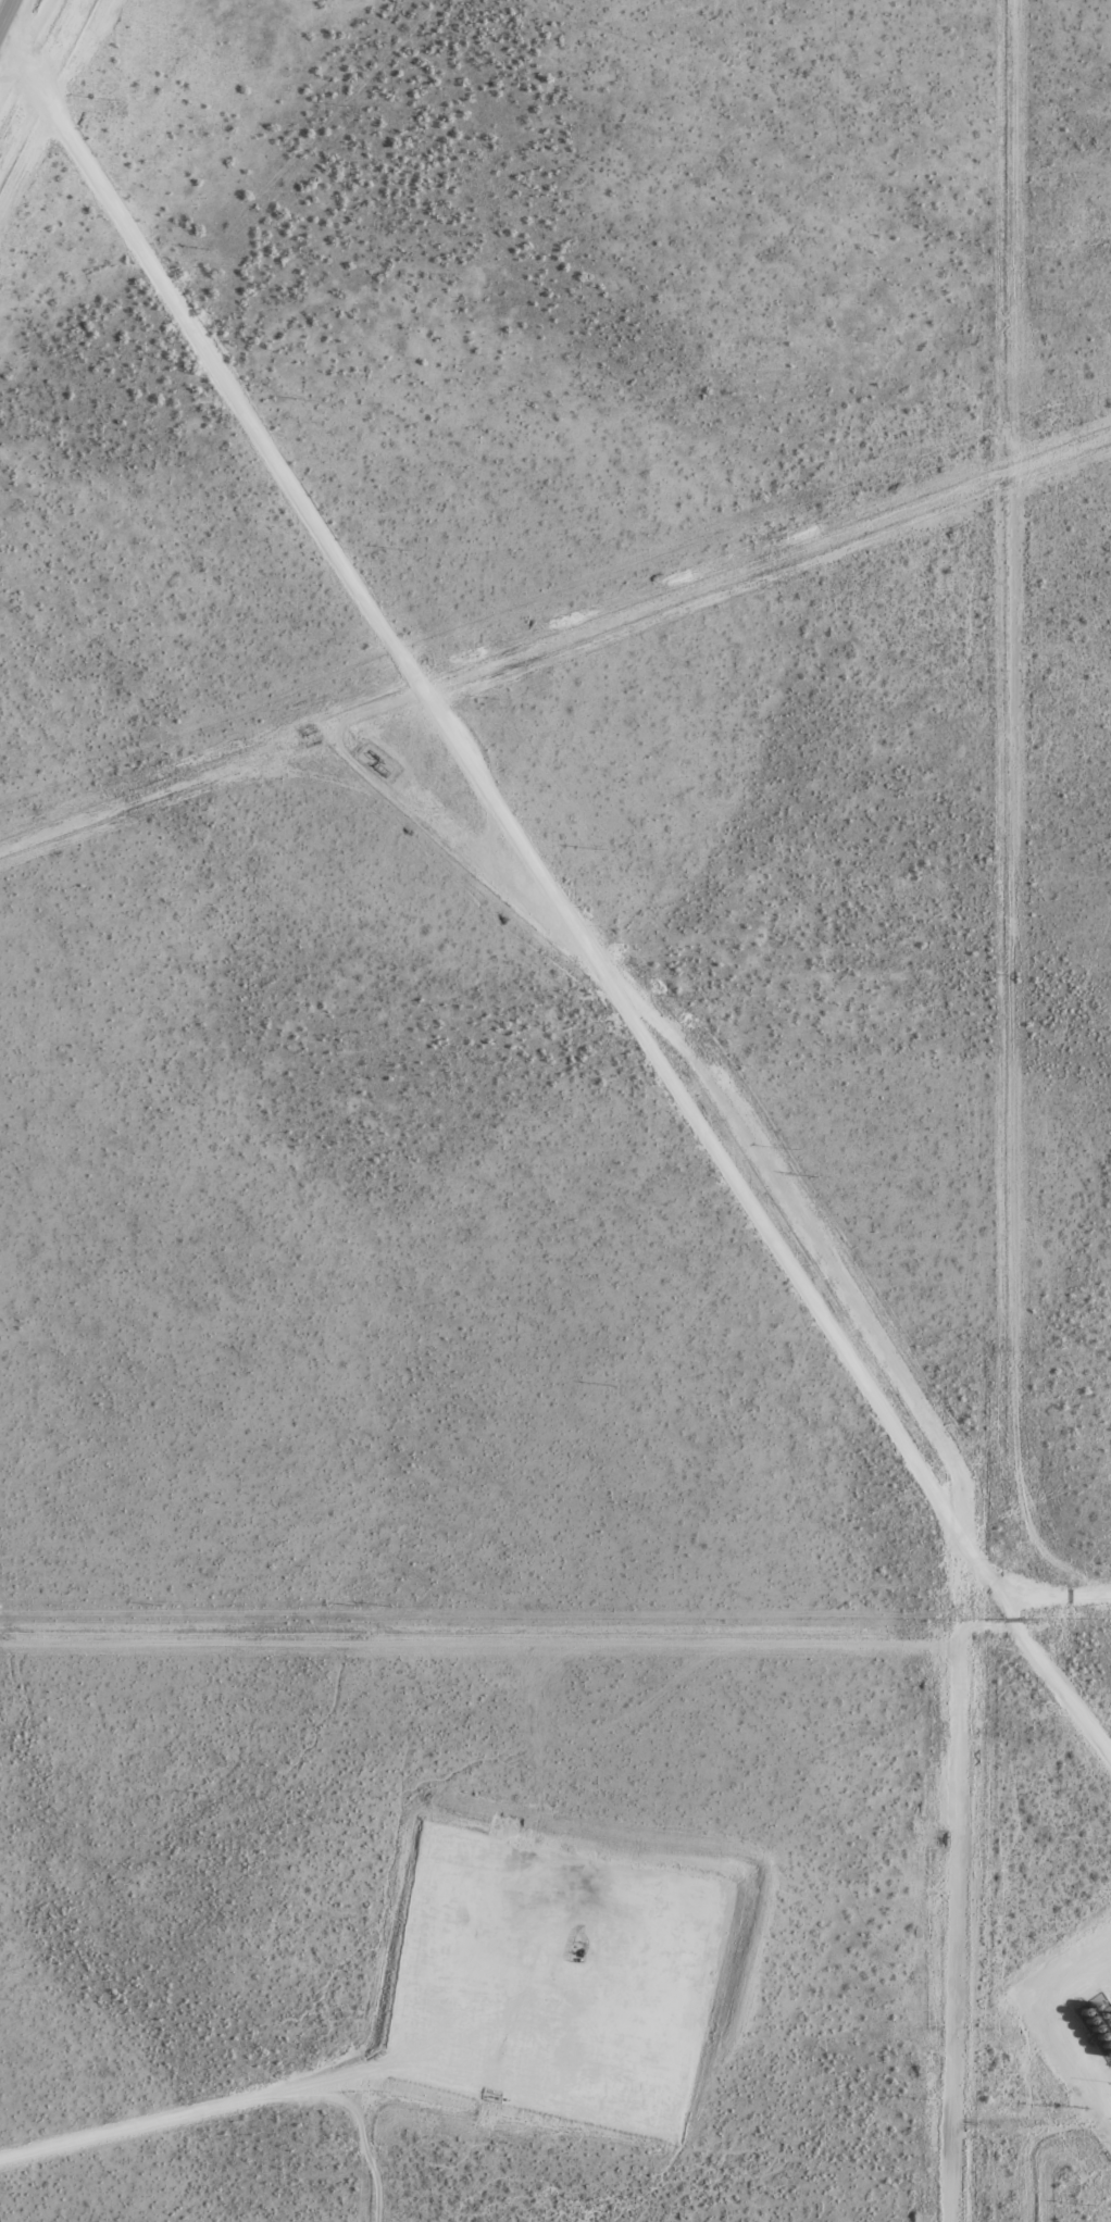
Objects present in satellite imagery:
road: (7, 14)
road: (560, 894)
road: (1057, 1601)
petroleum well: (578, 1953)
road: (234, 2104)

